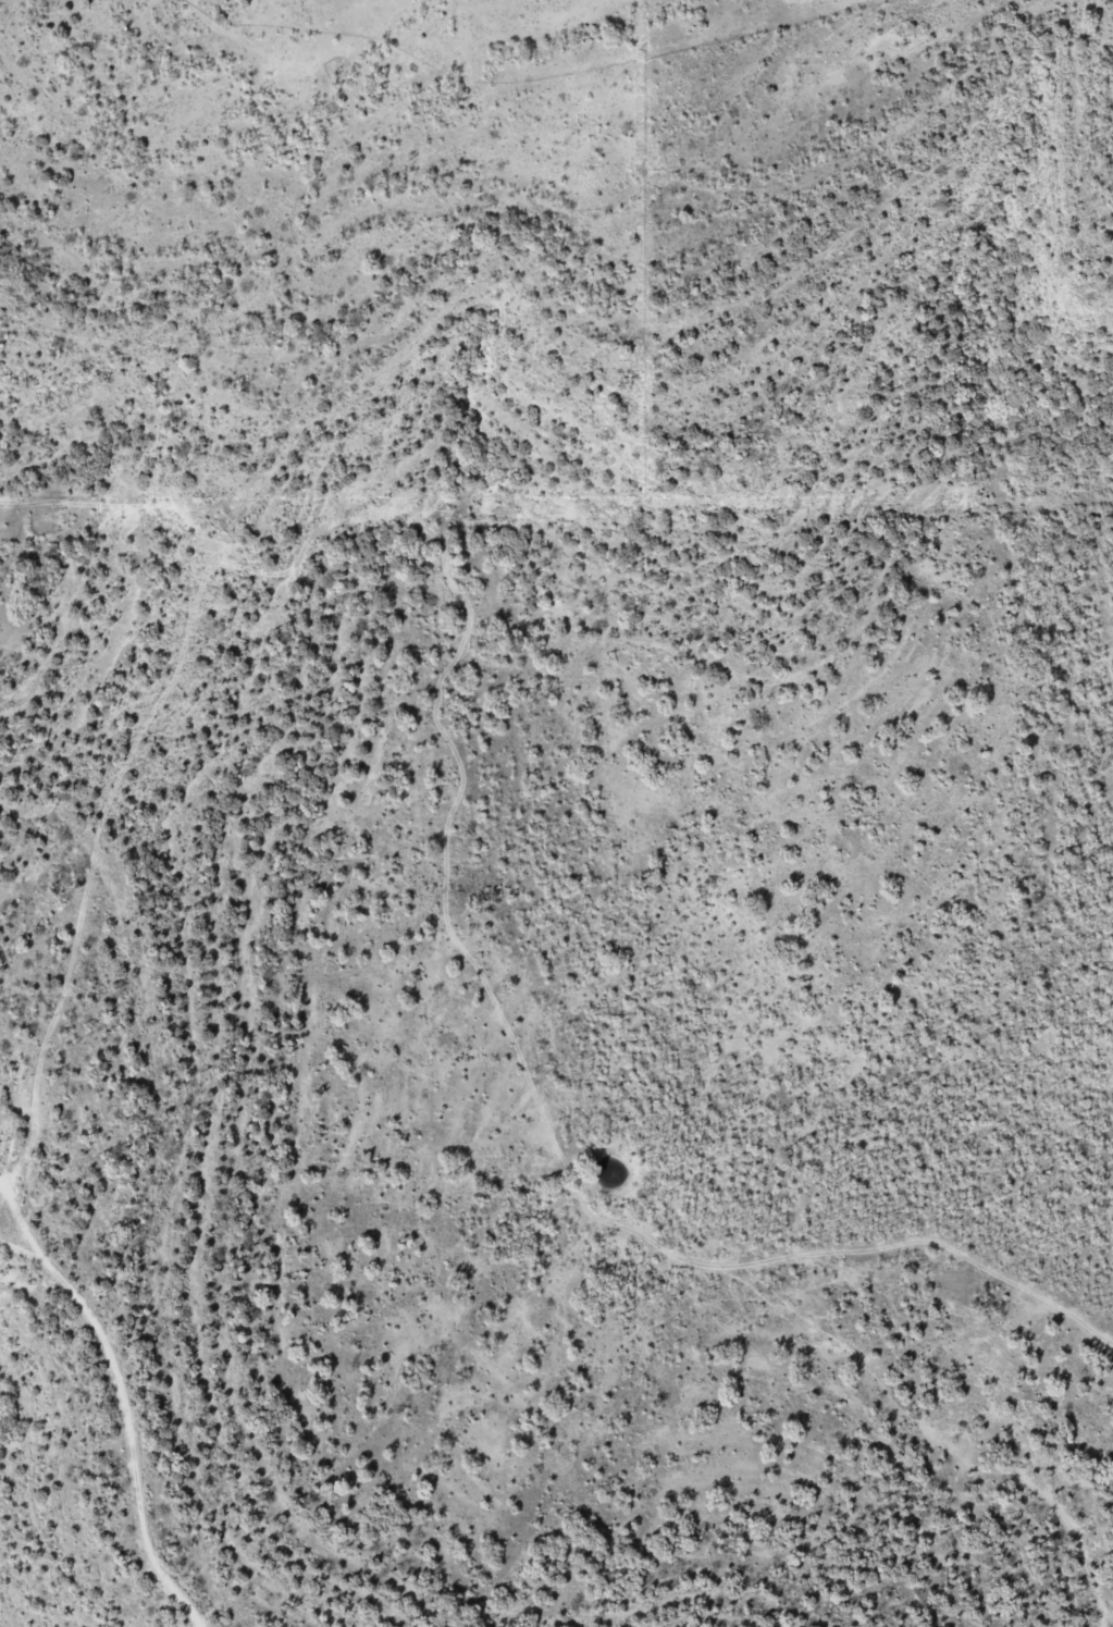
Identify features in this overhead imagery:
road: (98, 1459)

